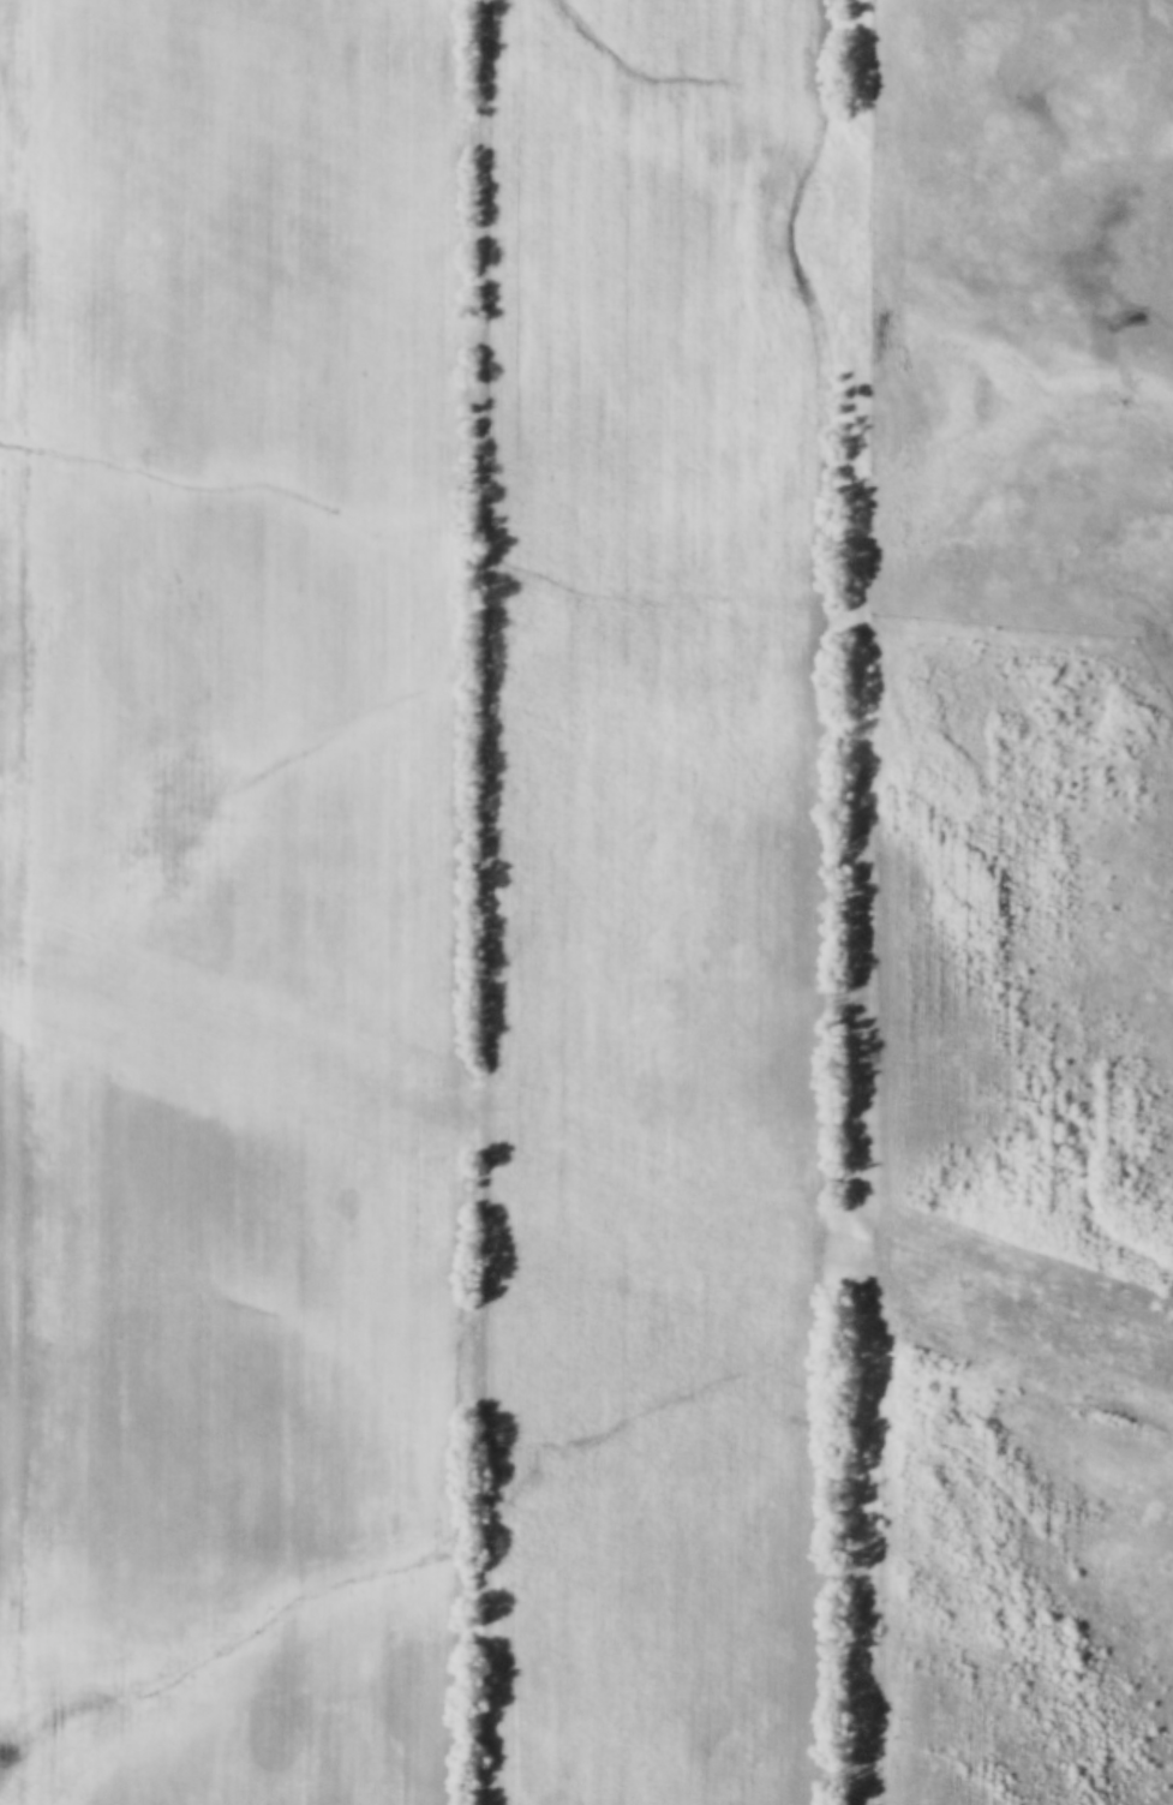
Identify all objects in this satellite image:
road: (872, 6)
road: (867, 902)

